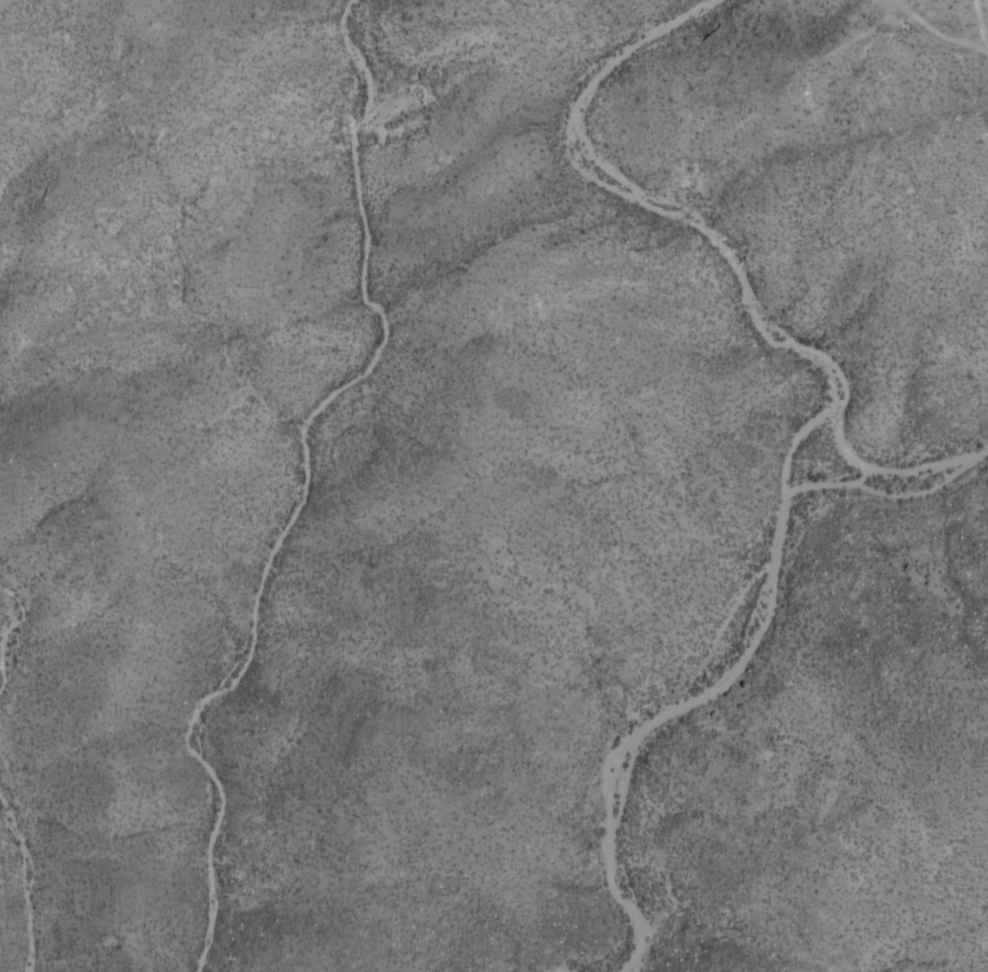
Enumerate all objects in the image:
road: (979, 3)

